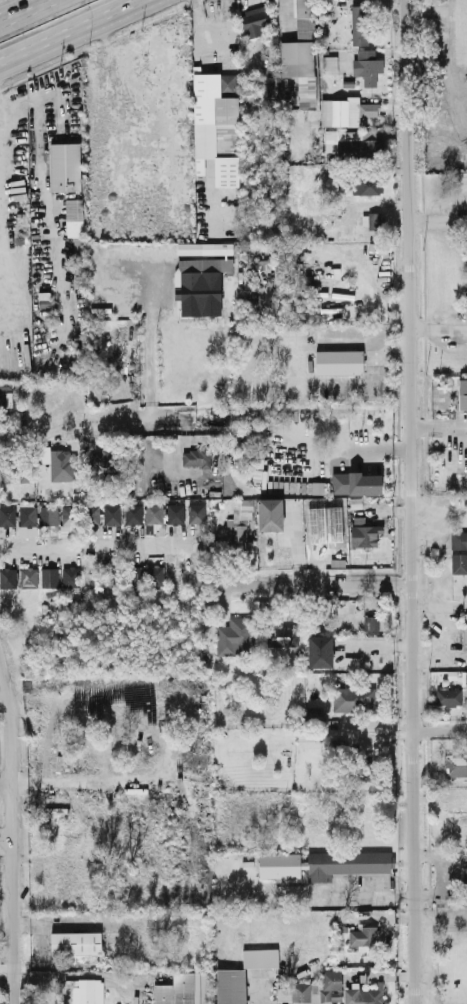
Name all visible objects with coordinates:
road: (28, 12)
road: (284, 19)
building: (255, 21)
building: (359, 24)
road: (69, 31)
building: (329, 64)
building: (367, 65)
road: (197, 74)
building: (289, 91)
road: (1, 110)
building: (345, 110)
building: (216, 125)
building: (357, 143)
road: (58, 148)
building: (64, 165)
building: (366, 183)
building: (73, 216)
building: (375, 220)
road: (439, 220)
building: (466, 234)
building: (204, 247)
building: (200, 279)
road: (26, 288)
building: (464, 304)
road: (66, 312)
road: (438, 325)
road: (370, 338)
road: (148, 343)
building: (338, 361)
building: (5, 392)
building: (462, 393)
road: (91, 422)
road: (438, 426)
road: (342, 443)
building: (251, 452)
building: (196, 456)
building: (102, 462)
building: (61, 464)
building: (357, 485)
road: (408, 501)
road: (372, 508)
road: (437, 510)
building: (154, 512)
building: (175, 512)
building: (196, 512)
building: (133, 513)
building: (269, 513)
building: (7, 514)
building: (48, 514)
building: (80, 514)
building: (111, 514)
building: (27, 515)
building: (238, 526)
building: (363, 531)
building: (458, 539)
road: (96, 546)
building: (458, 562)
building: (111, 574)
building: (134, 574)
building: (154, 574)
building: (28, 575)
building: (70, 575)
building: (49, 576)
building: (8, 577)
road: (310, 585)
road: (454, 604)
road: (444, 613)
building: (370, 623)
building: (465, 628)
building: (235, 635)
building: (284, 635)
building: (320, 650)
road: (439, 654)
building: (464, 679)
building: (354, 696)
building: (448, 696)
building: (313, 714)
road: (440, 727)
building: (455, 763)
road: (4, 779)
road: (67, 779)
road: (9, 836)
building: (323, 863)
building: (465, 882)
road: (363, 893)
road: (441, 920)
building: (362, 935)
building: (75, 941)
building: (230, 985)
building: (184, 988)
building: (314, 988)
building: (87, 991)
building: (364, 994)

